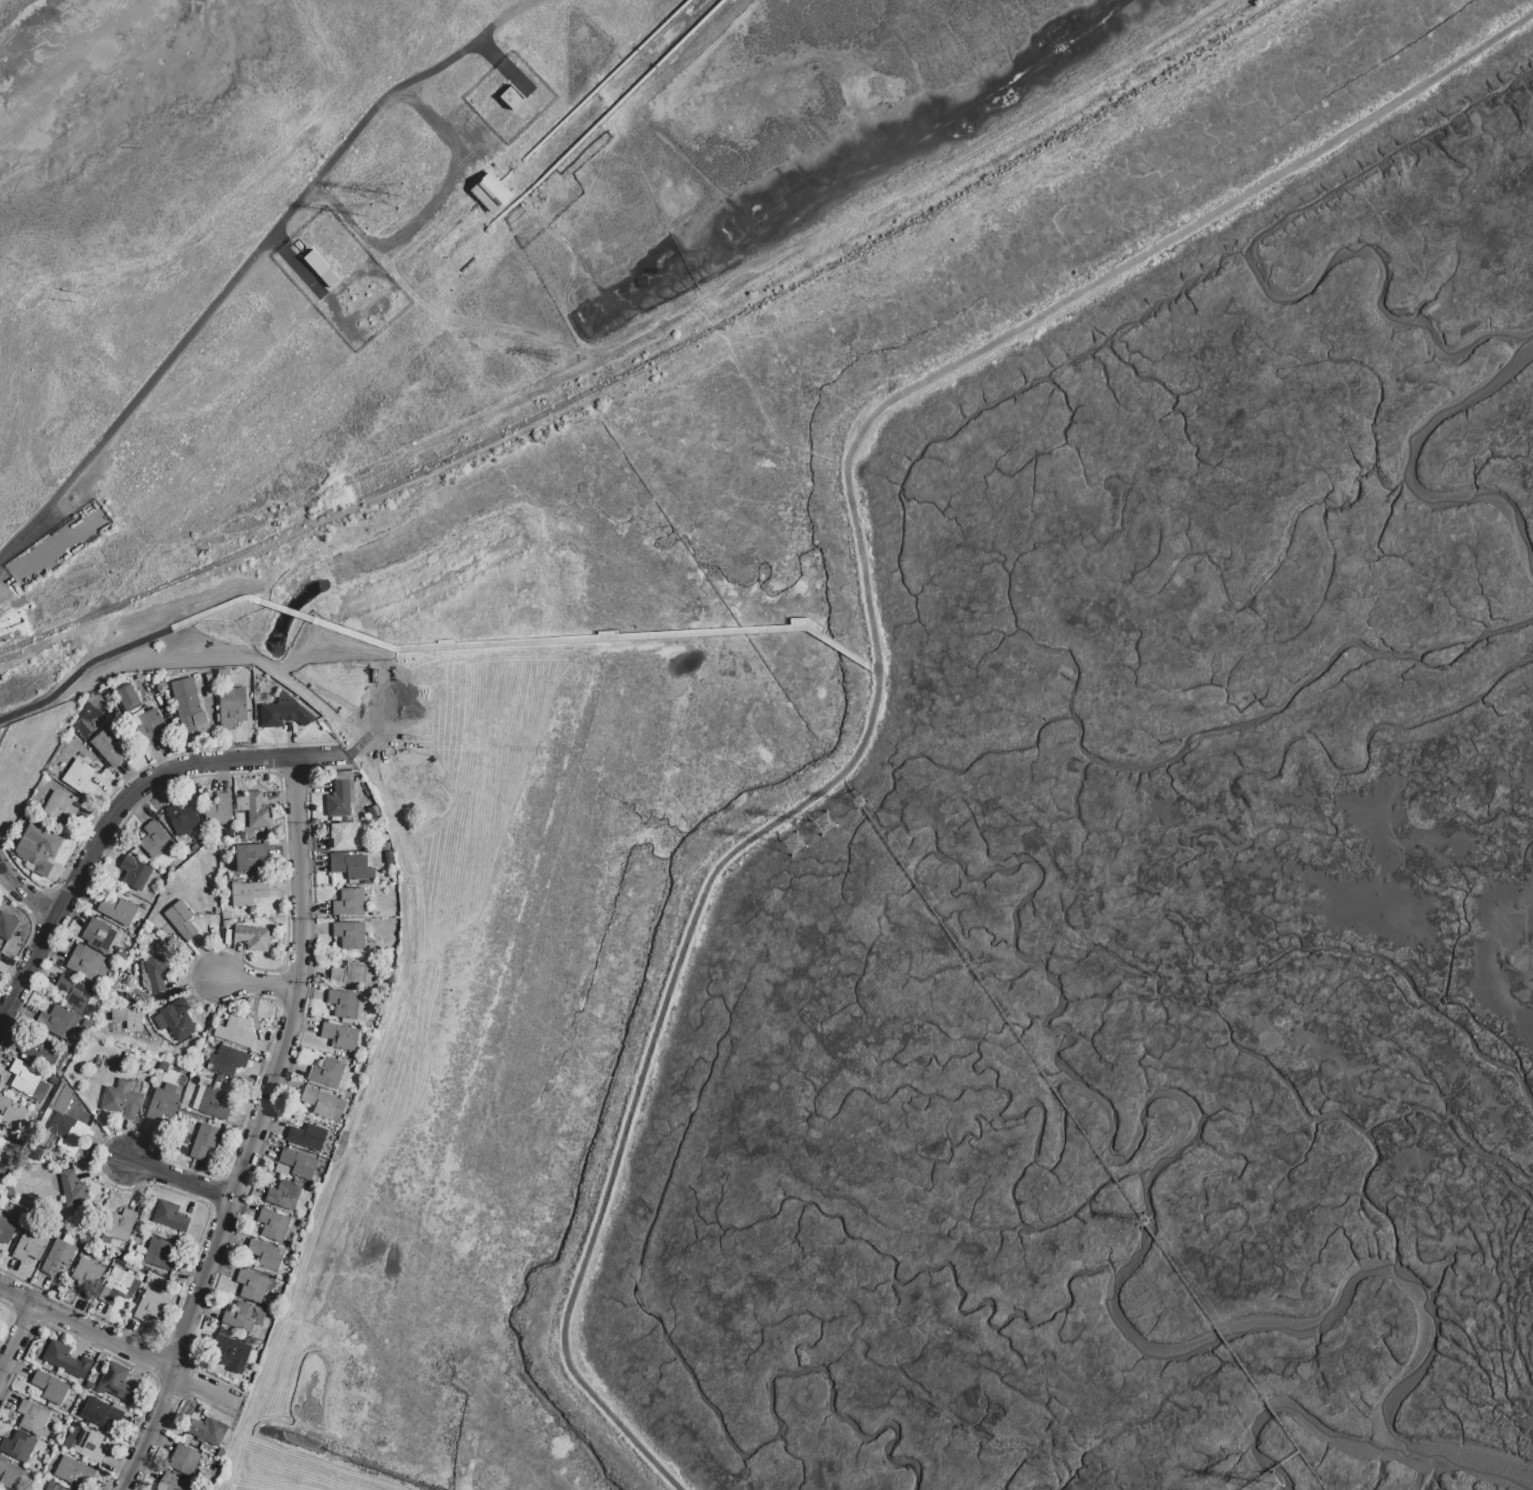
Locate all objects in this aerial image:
road: (1, 1)
road: (504, 66)
building: (509, 98)
building: (489, 193)
power tower: (397, 197)
road: (429, 213)
power tower: (370, 219)
road: (251, 259)
road: (1129, 264)
road: (296, 266)
building: (319, 268)
power tower: (560, 357)
railway: (655, 357)
road: (514, 646)
railway: (35, 651)
road: (871, 672)
road: (82, 673)
building: (128, 698)
building: (187, 702)
building: (232, 707)
building: (283, 713)
building: (147, 727)
road: (1, 734)
building: (107, 747)
street lamp: (256, 748)
road: (272, 758)
road: (162, 759)
road: (293, 776)
building: (79, 778)
building: (339, 800)
power tower: (865, 801)
building: (60, 807)
road: (115, 809)
street lamp: (101, 811)
building: (218, 811)
building: (259, 811)
building: (374, 812)
building: (182, 820)
road: (123, 821)
power tower: (829, 829)
building: (344, 836)
building: (155, 840)
building: (38, 848)
power tower: (799, 848)
building: (249, 857)
building: (350, 867)
road: (21, 874)
building: (138, 875)
street lamp: (61, 883)
building: (247, 893)
road: (26, 894)
road: (65, 896)
building: (350, 903)
road: (42, 910)
building: (117, 910)
building: (224, 915)
building: (180, 920)
building: (225, 925)
building: (7, 926)
building: (350, 935)
road: (28, 936)
road: (43, 936)
building: (100, 936)
building: (253, 938)
building: (87, 964)
building: (154, 974)
building: (356, 975)
road: (259, 984)
street lamp: (308, 986)
street lamp: (191, 989)
building: (74, 993)
building: (348, 1005)
road: (20, 1007)
building: (127, 1019)
building: (176, 1020)
building: (61, 1022)
road: (659, 1024)
building: (235, 1031)
building: (340, 1037)
building: (39, 1049)
building: (228, 1061)
building: (327, 1073)
building: (27, 1080)
building: (354, 1080)
road: (285, 1082)
building: (61, 1098)
building: (123, 1098)
building: (163, 1103)
building: (322, 1103)
building: (214, 1104)
building: (12, 1114)
road: (1082, 1132)
road: (255, 1133)
building: (64, 1134)
building: (307, 1138)
building: (205, 1141)
building: (2, 1145)
building: (295, 1164)
road: (239, 1173)
road: (211, 1176)
road: (182, 1181)
building: (72, 1189)
road: (216, 1192)
building: (284, 1196)
building: (11, 1208)
building: (170, 1216)
power tower: (1152, 1218)
building: (119, 1224)
building: (273, 1225)
building: (6, 1230)
building: (29, 1247)
building: (158, 1255)
building: (58, 1257)
building: (265, 1257)
building: (87, 1275)
street lamp: (27, 1287)
building: (119, 1287)
building: (253, 1287)
street lamp: (210, 1290)
building: (152, 1307)
building: (243, 1317)
road: (25, 1318)
road: (9, 1319)
street lamp: (120, 1333)
road: (17, 1341)
road: (118, 1348)
road: (160, 1348)
building: (228, 1350)
building: (60, 1357)
road: (113, 1358)
street lamp: (192, 1368)
building: (116, 1382)
building: (50, 1388)
building: (100, 1413)
building: (32, 1417)
road: (171, 1417)
building: (208, 1431)
street lamp: (162, 1432)
building: (70, 1439)
building: (18, 1446)
building: (89, 1446)
building: (184, 1460)
road: (1271, 1471)
building: (75, 1473)
building: (10, 1476)
building: (171, 1483)
building: (53, 1487)
power tower: (1275, 1487)

